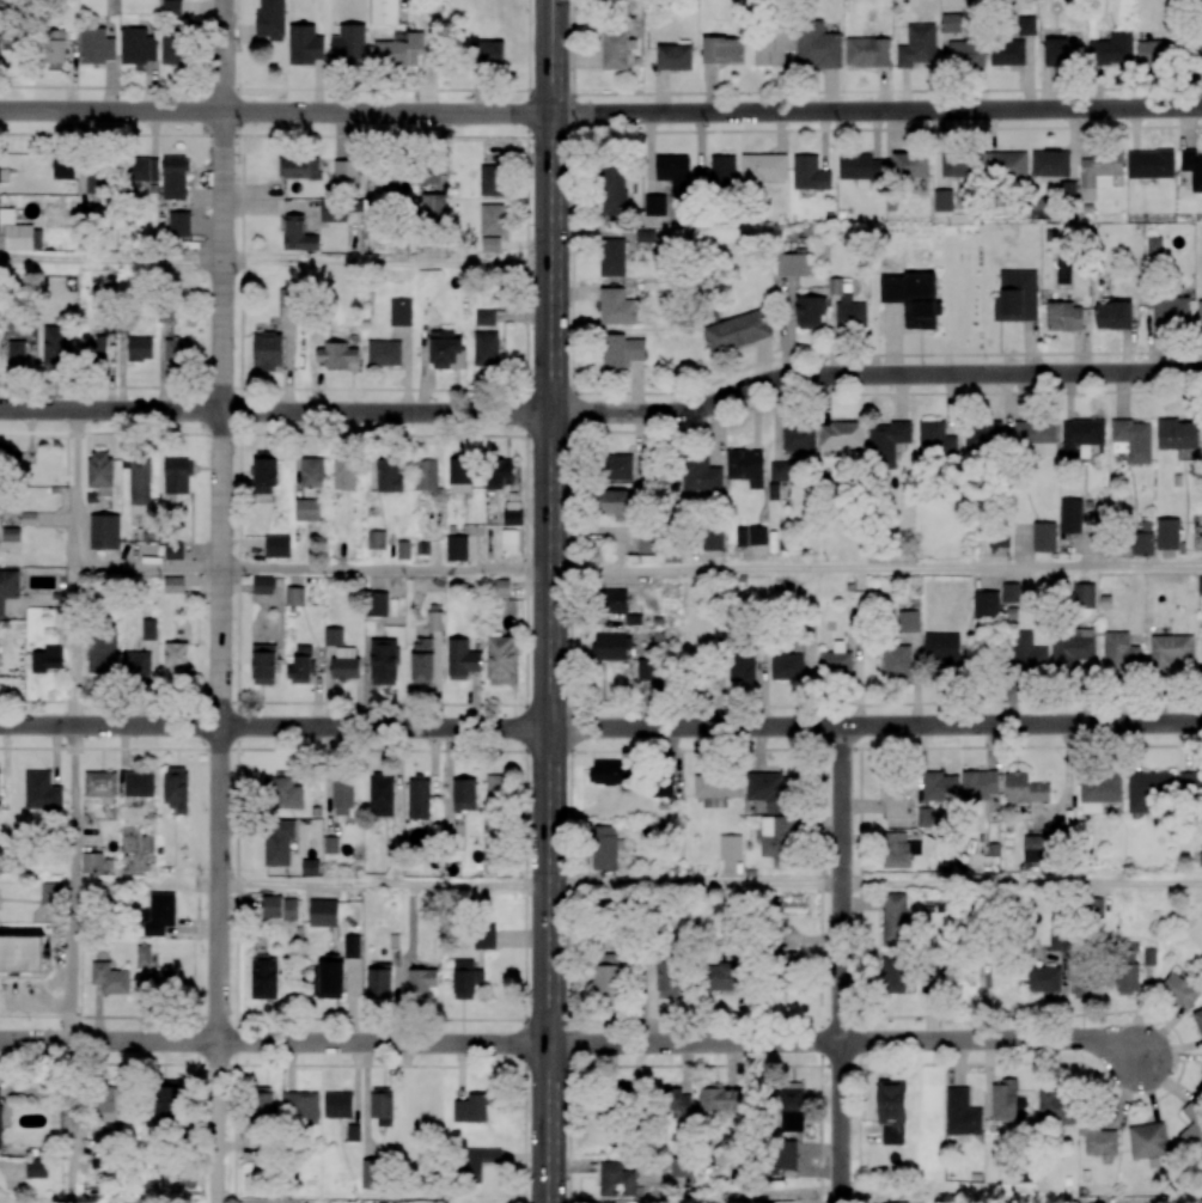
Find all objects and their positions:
building: (171, 8)
building: (384, 12)
building: (951, 23)
building: (1026, 25)
power substation: (311, 35)
building: (348, 43)
building: (305, 44)
building: (53, 45)
building: (96, 45)
building: (138, 45)
building: (773, 45)
building: (817, 45)
building: (917, 47)
building: (1198, 47)
building: (172, 49)
building: (616, 49)
building: (1111, 49)
building: (398, 50)
building: (722, 50)
building: (866, 51)
building: (1062, 51)
building: (1158, 51)
building: (487, 53)
building: (965, 53)
building: (1007, 53)
building: (673, 57)
road: (600, 92)
road: (877, 110)
road: (275, 112)
road: (600, 132)
building: (1149, 164)
building: (910, 165)
building: (957, 165)
building: (1011, 165)
building: (1049, 165)
building: (301, 167)
building: (763, 167)
building: (1192, 167)
building: (62, 169)
building: (672, 169)
building: (860, 169)
building: (142, 170)
building: (346, 173)
building: (422, 173)
building: (716, 173)
building: (809, 173)
building: (1098, 173)
building: (173, 177)
building: (493, 181)
building: (99, 182)
building: (614, 189)
building: (1067, 189)
building: (942, 200)
building: (654, 204)
building: (433, 207)
building: (332, 210)
building: (492, 219)
building: (179, 224)
building: (23, 232)
building: (298, 234)
building: (645, 236)
building: (490, 244)
building: (1153, 244)
building: (612, 257)
road: (112, 261)
road: (386, 262)
building: (791, 264)
building: (1015, 297)
building: (911, 298)
building: (286, 299)
building: (616, 307)
building: (809, 311)
building: (849, 311)
building: (1171, 311)
building: (401, 312)
building: (1200, 313)
building: (1112, 315)
building: (1063, 316)
building: (484, 317)
building: (737, 331)
building: (55, 347)
building: (140, 348)
building: (486, 348)
building: (94, 350)
building: (268, 350)
building: (446, 350)
building: (621, 350)
building: (17, 352)
building: (177, 352)
building: (384, 353)
building: (336, 355)
road: (872, 373)
road: (604, 392)
road: (275, 411)
road: (603, 432)
building: (841, 434)
building: (1177, 434)
building: (983, 435)
building: (798, 436)
building: (1036, 436)
building: (1080, 436)
building: (935, 440)
building: (1133, 440)
building: (887, 442)
building: (6, 453)
building: (745, 466)
building: (618, 468)
building: (99, 471)
building: (311, 471)
building: (777, 471)
building: (264, 472)
building: (499, 472)
building: (700, 472)
building: (344, 474)
building: (389, 475)
building: (425, 475)
building: (460, 475)
building: (177, 476)
building: (140, 482)
road: (77, 489)
building: (616, 503)
building: (4, 508)
building: (306, 509)
building: (1070, 515)
building: (29, 518)
road: (56, 519)
road: (222, 520)
building: (104, 531)
building: (11, 533)
building: (1167, 533)
building: (751, 536)
building: (1043, 537)
building: (376, 539)
building: (508, 539)
building: (712, 539)
building: (646, 543)
building: (1142, 543)
building: (277, 546)
building: (456, 548)
building: (403, 549)
building: (173, 550)
road: (150, 568)
road: (875, 568)
road: (385, 569)
building: (173, 584)
building: (263, 585)
building: (1200, 585)
building: (8, 586)
building: (498, 587)
building: (1014, 593)
building: (294, 596)
building: (1084, 596)
road: (526, 600)
road: (549, 600)
building: (614, 600)
road: (569, 601)
building: (376, 604)
building: (986, 604)
building: (434, 621)
building: (911, 624)
building: (148, 629)
building: (334, 636)
road: (77, 647)
building: (611, 647)
building: (944, 649)
building: (1170, 649)
building: (102, 652)
building: (1119, 652)
building: (1027, 654)
building: (176, 658)
building: (47, 659)
building: (462, 659)
building: (501, 660)
building: (897, 660)
building: (383, 661)
building: (421, 661)
building: (835, 661)
building: (136, 662)
building: (344, 662)
building: (263, 664)
building: (300, 665)
building: (742, 666)
building: (786, 666)
road: (237, 668)
building: (646, 668)
road: (600, 697)
road: (875, 725)
road: (274, 727)
road: (600, 746)
building: (612, 773)
building: (0, 775)
building: (139, 783)
building: (978, 784)
building: (100, 786)
building: (769, 786)
building: (1190, 786)
building: (939, 787)
building: (176, 788)
building: (661, 788)
building: (1024, 788)
building: (716, 789)
building: (1147, 789)
building: (42, 790)
building: (282, 792)
building: (1098, 792)
building: (382, 794)
building: (464, 794)
building: (342, 796)
building: (895, 798)
building: (419, 799)
road: (75, 802)
building: (494, 804)
building: (776, 839)
building: (277, 842)
building: (730, 847)
building: (603, 848)
building: (1036, 848)
building: (898, 850)
building: (91, 862)
building: (0, 867)
building: (310, 867)
road: (147, 880)
road: (1021, 881)
road: (383, 883)
road: (695, 883)
building: (51, 893)
building: (279, 908)
road: (197, 910)
building: (158, 914)
building: (895, 920)
building: (484, 935)
building: (1057, 939)
building: (352, 946)
building: (20, 953)
building: (142, 954)
road: (75, 959)
road: (842, 964)
building: (785, 969)
building: (1127, 969)
building: (608, 975)
building: (330, 976)
building: (896, 976)
building: (264, 977)
building: (721, 977)
building: (109, 978)
building: (465, 978)
building: (667, 978)
building: (1043, 978)
building: (378, 979)
building: (160, 981)
building: (421, 981)
building: (1081, 987)
building: (1179, 990)
building: (1198, 1020)
road: (196, 1040)
road: (848, 1040)
road: (273, 1042)
road: (1180, 1065)
building: (1201, 1085)
building: (627, 1088)
building: (166, 1099)
building: (719, 1099)
building: (1003, 1100)
building: (675, 1101)
building: (263, 1103)
building: (109, 1104)
building: (337, 1105)
building: (382, 1105)
building: (300, 1106)
building: (792, 1106)
building: (1055, 1106)
building: (470, 1109)
building: (891, 1111)
building: (960, 1113)
building: (0, 1120)
road: (73, 1122)
road: (218, 1122)
building: (1192, 1126)
building: (353, 1132)
building: (104, 1137)
building: (1099, 1141)
building: (1148, 1142)
building: (783, 1155)
building: (475, 1162)
building: (682, 1167)
building: (36, 1168)
building: (368, 1173)
building: (615, 1179)
building: (608, 1202)
building: (783, 1202)

